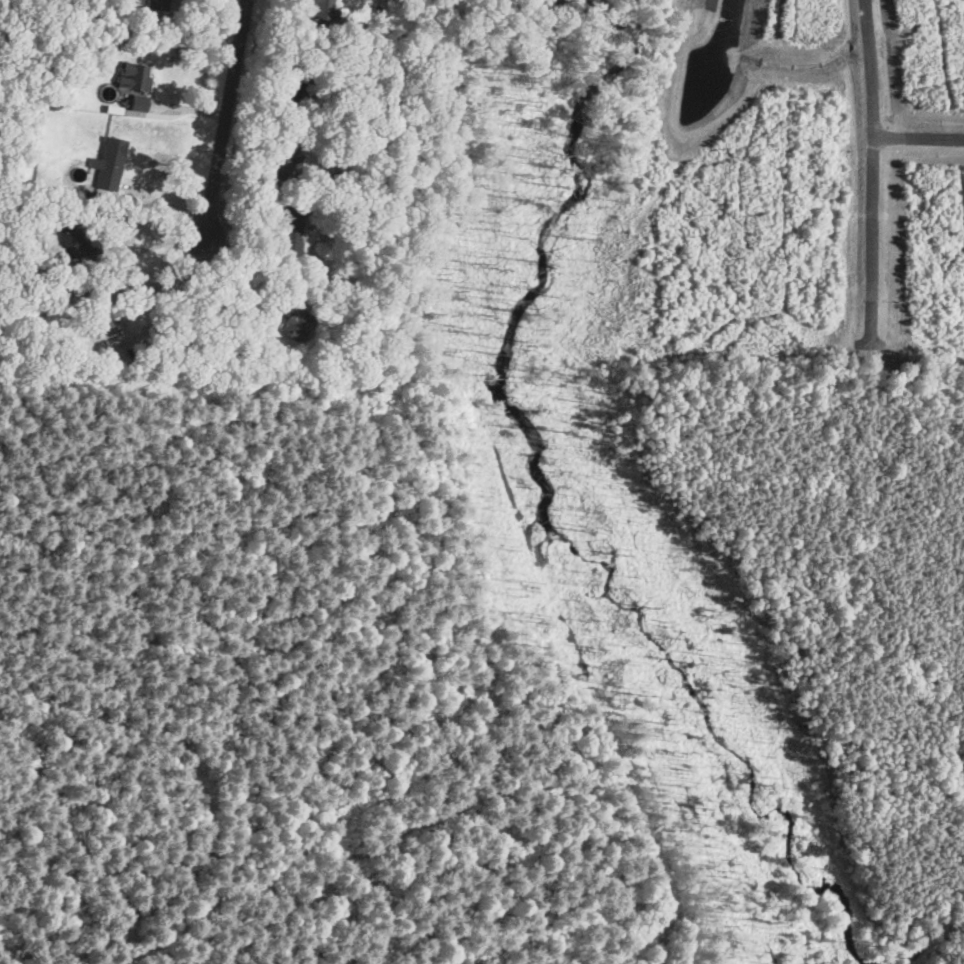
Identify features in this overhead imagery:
building: (157, 4)
building: (321, 9)
building: (133, 82)
building: (290, 82)
road: (228, 121)
road: (916, 133)
road: (869, 160)
building: (108, 163)
building: (280, 166)
building: (289, 231)
building: (75, 239)
road: (164, 242)
road: (173, 295)
building: (292, 323)

